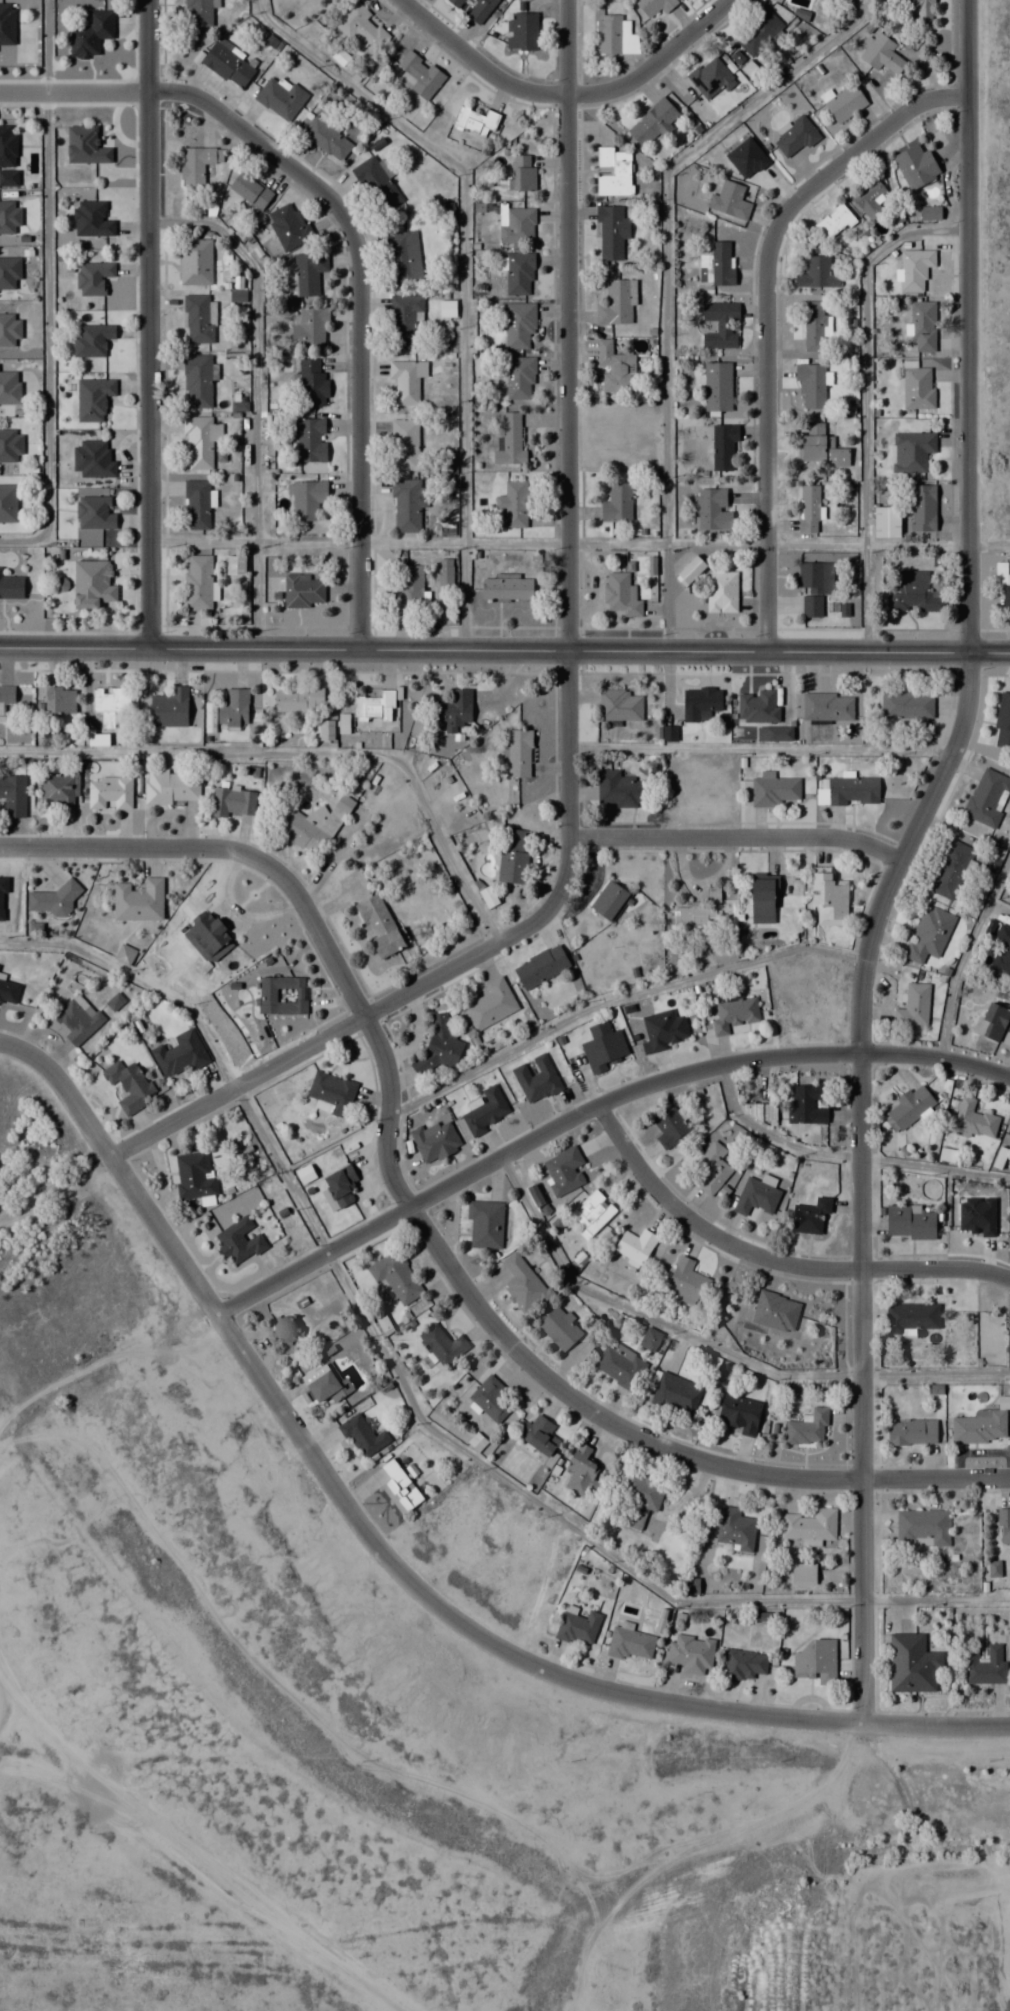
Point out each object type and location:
building: (454, 3)
building: (653, 7)
building: (479, 10)
building: (197, 12)
building: (914, 12)
building: (362, 27)
building: (521, 30)
building: (758, 30)
building: (91, 33)
building: (610, 33)
building: (881, 52)
road: (653, 62)
road: (475, 63)
building: (227, 64)
building: (750, 70)
building: (419, 74)
building: (711, 77)
building: (280, 96)
building: (844, 101)
building: (475, 120)
building: (653, 122)
building: (794, 136)
building: (326, 138)
building: (85, 145)
building: (7, 147)
building: (196, 164)
building: (916, 166)
building: (612, 171)
building: (522, 173)
building: (374, 181)
building: (250, 190)
building: (868, 197)
building: (729, 201)
building: (8, 216)
building: (92, 219)
building: (833, 222)
building: (517, 225)
building: (288, 226)
building: (611, 232)
road: (352, 239)
building: (402, 256)
building: (195, 261)
building: (716, 264)
building: (915, 268)
building: (9, 272)
building: (309, 272)
building: (518, 273)
building: (817, 274)
road: (463, 275)
building: (93, 277)
road: (666, 277)
road: (46, 292)
building: (616, 302)
building: (198, 318)
building: (404, 318)
road: (765, 318)
road: (148, 323)
building: (720, 323)
building: (922, 324)
building: (518, 325)
building: (812, 326)
road: (967, 326)
building: (308, 328)
building: (9, 330)
building: (92, 339)
building: (614, 367)
building: (519, 376)
building: (197, 380)
building: (405, 380)
building: (312, 383)
building: (717, 385)
building: (810, 385)
building: (9, 387)
building: (917, 387)
road: (254, 396)
building: (92, 398)
road: (864, 400)
building: (816, 427)
building: (510, 440)
building: (199, 441)
building: (403, 443)
building: (309, 444)
building: (10, 445)
building: (722, 446)
building: (820, 450)
building: (911, 451)
building: (93, 459)
building: (307, 498)
building: (617, 502)
building: (7, 503)
building: (513, 503)
building: (197, 504)
building: (406, 505)
building: (809, 507)
building: (922, 507)
building: (711, 509)
building: (94, 513)
building: (887, 522)
road: (558, 541)
road: (989, 546)
building: (690, 569)
building: (197, 582)
building: (92, 584)
building: (1004, 584)
building: (814, 586)
building: (11, 587)
building: (408, 587)
building: (506, 587)
building: (304, 591)
building: (721, 591)
building: (912, 592)
building: (621, 595)
road: (504, 650)
building: (6, 697)
building: (110, 699)
building: (59, 700)
building: (298, 700)
building: (700, 703)
building: (619, 706)
building: (758, 706)
building: (827, 706)
building: (906, 706)
building: (233, 707)
building: (373, 707)
building: (169, 708)
road: (567, 709)
building: (454, 710)
building: (1002, 722)
building: (326, 730)
road: (760, 748)
building: (519, 753)
road: (304, 754)
building: (171, 787)
building: (58, 789)
building: (620, 789)
building: (775, 790)
building: (853, 790)
building: (109, 791)
building: (13, 795)
building: (987, 797)
building: (232, 801)
building: (312, 825)
road: (737, 838)
building: (513, 855)
building: (992, 859)
building: (951, 868)
building: (488, 897)
building: (764, 898)
building: (829, 899)
building: (52, 900)
building: (609, 900)
building: (138, 901)
building: (699, 911)
building: (378, 925)
building: (208, 933)
building: (929, 934)
building: (1003, 949)
building: (124, 954)
road: (963, 955)
building: (541, 966)
road: (139, 981)
building: (8, 992)
building: (281, 995)
road: (616, 999)
building: (491, 1005)
building: (913, 1005)
building: (734, 1013)
building: (77, 1019)
building: (994, 1022)
building: (664, 1029)
building: (439, 1046)
building: (605, 1051)
building: (180, 1054)
building: (537, 1079)
building: (128, 1085)
building: (331, 1093)
building: (806, 1106)
building: (910, 1106)
road: (591, 1107)
building: (485, 1111)
building: (974, 1120)
building: (670, 1128)
building: (435, 1141)
building: (947, 1154)
road: (844, 1156)
building: (1000, 1157)
building: (712, 1168)
building: (563, 1170)
building: (194, 1174)
road: (860, 1177)
building: (339, 1187)
building: (756, 1197)
building: (592, 1213)
building: (810, 1216)
building: (909, 1221)
building: (485, 1224)
road: (424, 1232)
building: (239, 1240)
building: (635, 1246)
road: (772, 1259)
building: (396, 1277)
building: (686, 1281)
building: (523, 1284)
building: (775, 1310)
building: (911, 1317)
building: (560, 1328)
building: (649, 1339)
building: (440, 1346)
road: (714, 1346)
building: (620, 1366)
building: (325, 1385)
building: (675, 1395)
building: (490, 1399)
building: (740, 1413)
building: (980, 1427)
building: (807, 1428)
building: (911, 1432)
building: (363, 1436)
building: (539, 1438)
road: (467, 1454)
building: (581, 1472)
building: (400, 1487)
building: (641, 1496)
building: (1004, 1524)
building: (809, 1525)
building: (922, 1526)
building: (734, 1529)
road: (391, 1563)
road: (936, 1598)
building: (577, 1625)
building: (630, 1643)
building: (691, 1653)
building: (816, 1661)
building: (912, 1663)
building: (743, 1664)
building: (986, 1665)
road: (919, 1768)
park: (915, 1816)
road: (914, 1832)
road: (982, 1844)

